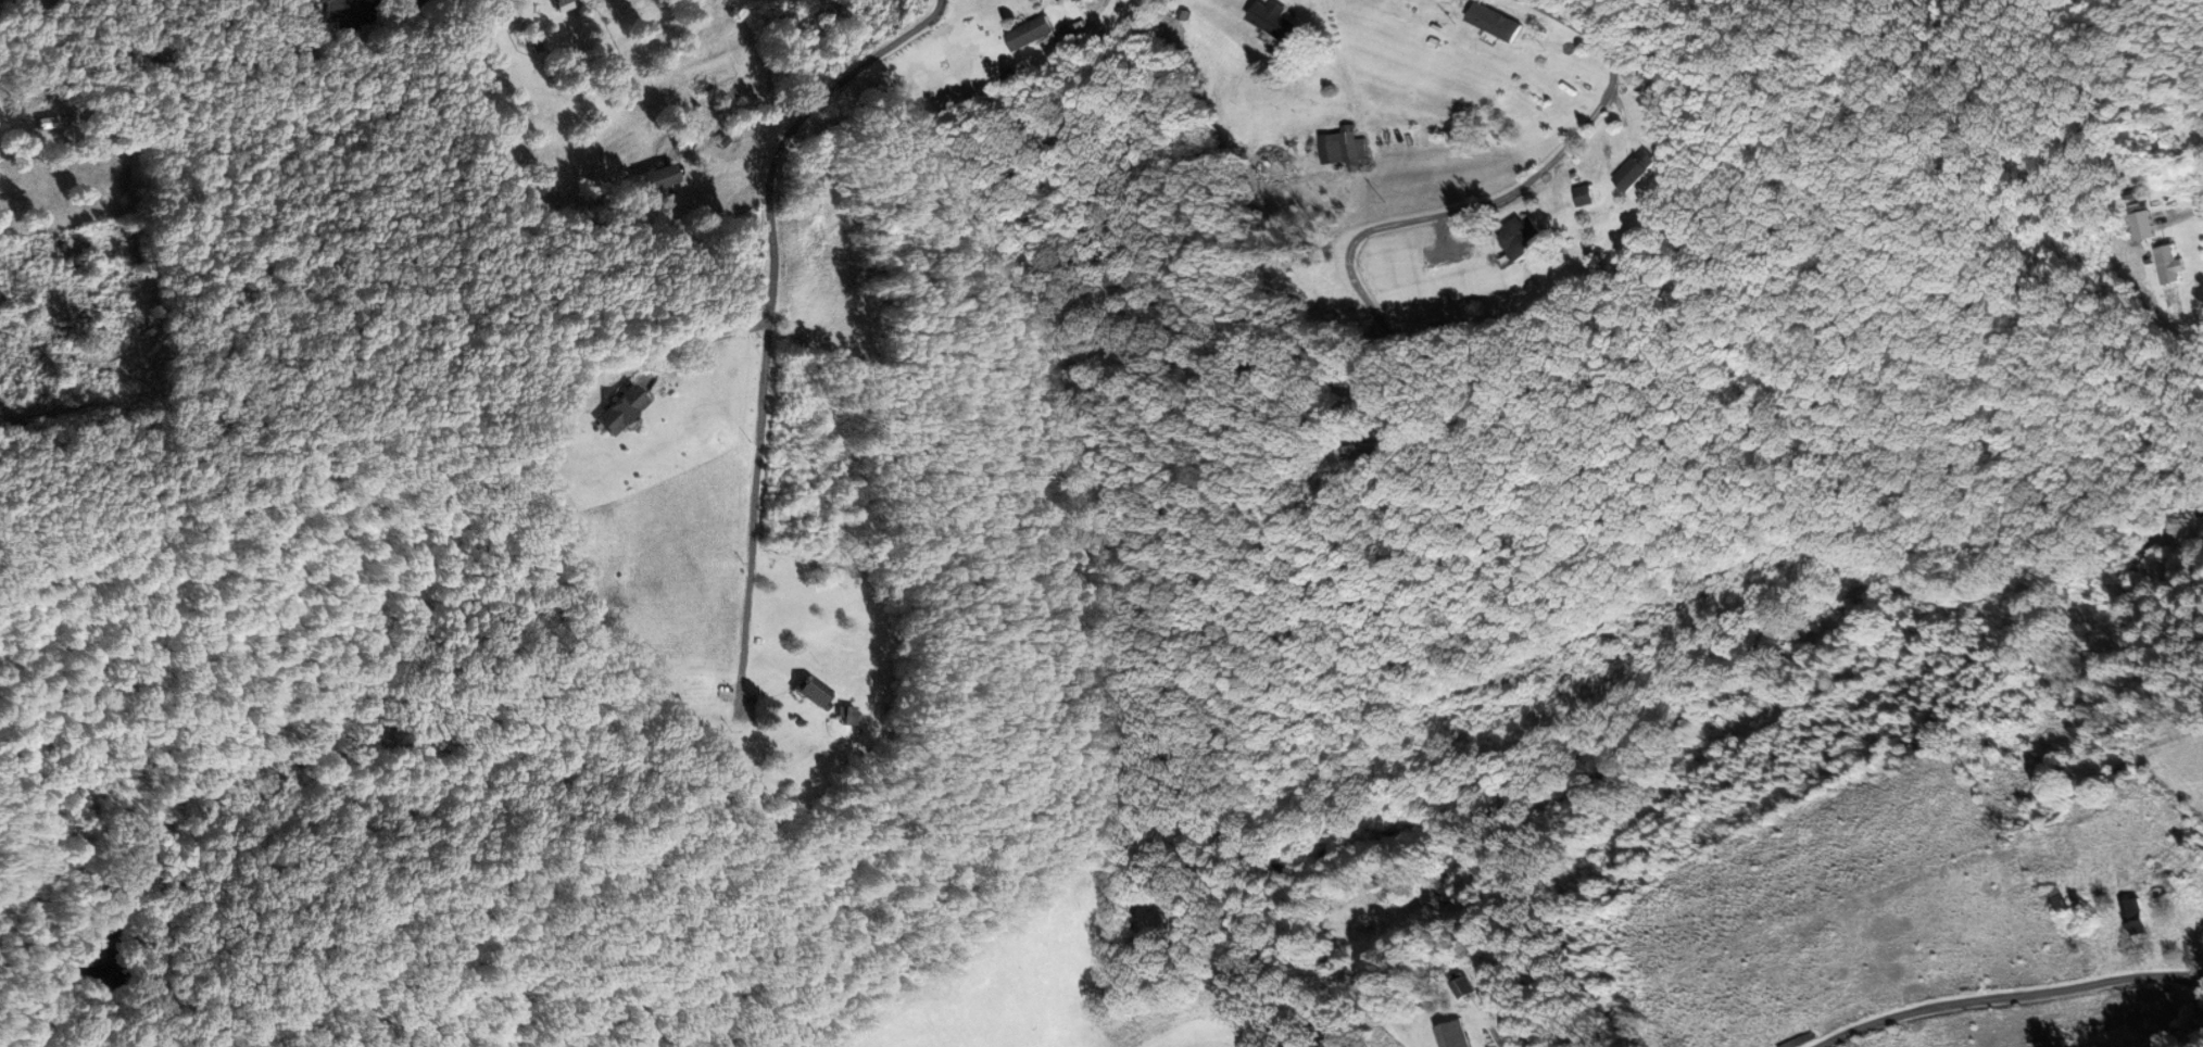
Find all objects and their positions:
building: (558, 3)
building: (341, 17)
building: (1275, 21)
building: (1494, 21)
road: (1575, 29)
building: (1030, 34)
road: (159, 68)
building: (1347, 150)
building: (1637, 171)
building: (656, 179)
building: (1584, 195)
road: (1472, 207)
building: (1520, 238)
building: (2167, 264)
road: (769, 317)
building: (616, 409)
building: (1369, 449)
building: (808, 691)
building: (845, 716)
building: (1912, 750)
building: (2118, 775)
building: (2055, 901)
building: (2133, 918)
building: (1461, 987)
road: (2057, 1000)
building: (1452, 1035)

